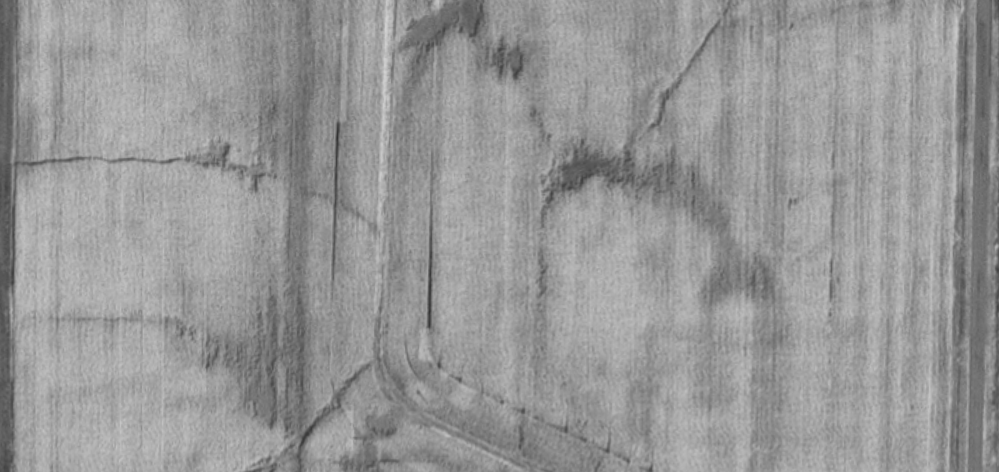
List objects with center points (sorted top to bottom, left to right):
road: (980, 236)

